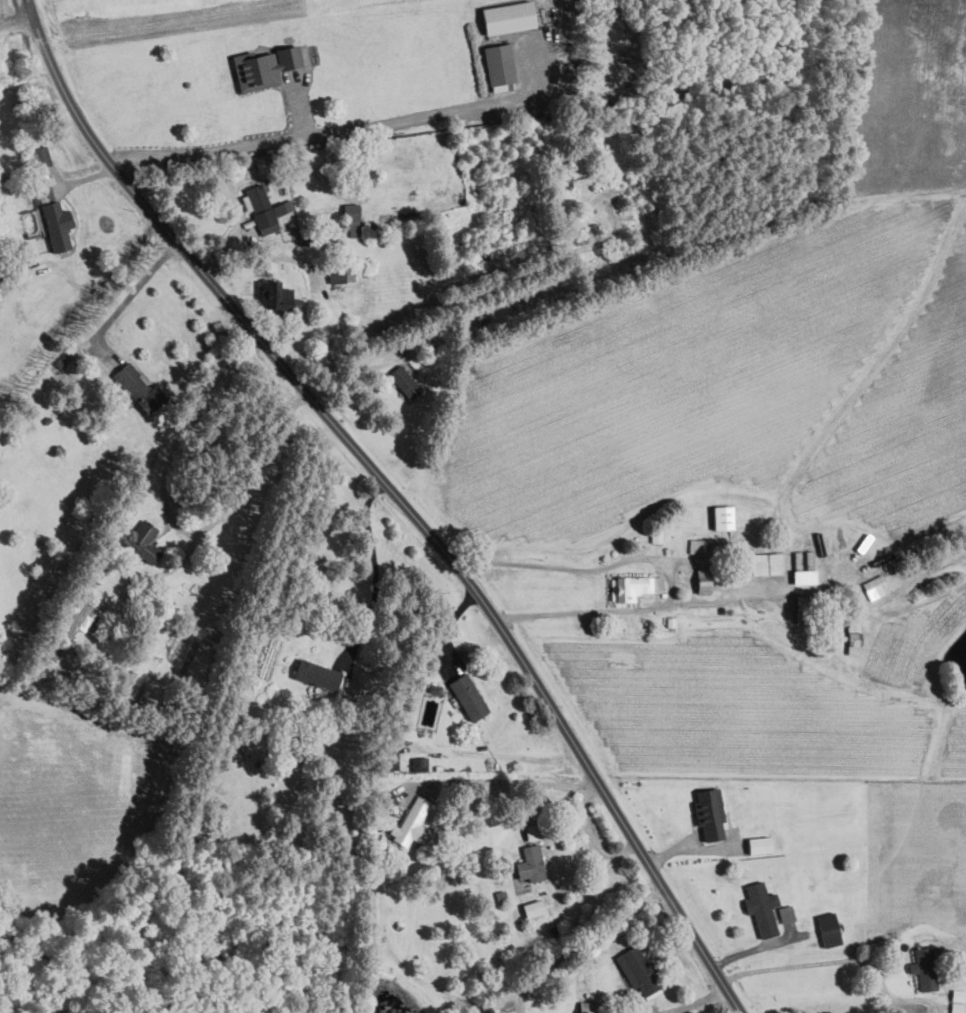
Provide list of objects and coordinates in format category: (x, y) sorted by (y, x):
building: (508, 16)
road: (15, 21)
building: (499, 66)
building: (263, 67)
road: (352, 128)
building: (38, 157)
building: (43, 190)
building: (264, 208)
building: (356, 222)
building: (57, 224)
building: (337, 275)
road: (133, 293)
building: (275, 295)
road: (42, 333)
building: (405, 382)
building: (137, 385)
road: (200, 420)
road: (400, 494)
building: (723, 517)
building: (656, 535)
building: (139, 539)
building: (697, 545)
building: (763, 563)
road: (375, 567)
road: (722, 569)
building: (804, 576)
building: (703, 580)
building: (634, 587)
building: (876, 587)
building: (80, 617)
road: (449, 619)
building: (853, 637)
building: (317, 675)
building: (468, 696)
building: (392, 757)
building: (419, 764)
road: (520, 781)
building: (710, 812)
building: (413, 823)
building: (533, 831)
building: (759, 844)
building: (531, 863)
building: (533, 908)
building: (762, 908)
building: (786, 913)
building: (829, 929)
road: (576, 946)
road: (846, 960)
building: (925, 969)
building: (638, 972)
road: (697, 999)
building: (957, 1001)
building: (590, 1007)

